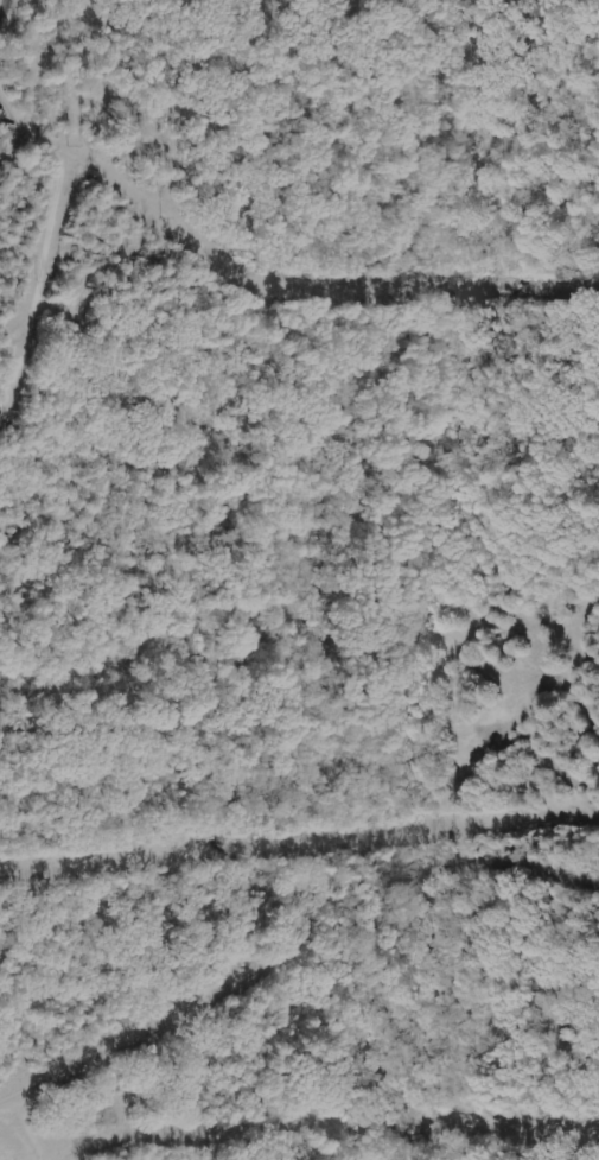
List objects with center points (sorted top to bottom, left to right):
road: (5, 11)
park: (299, 322)

